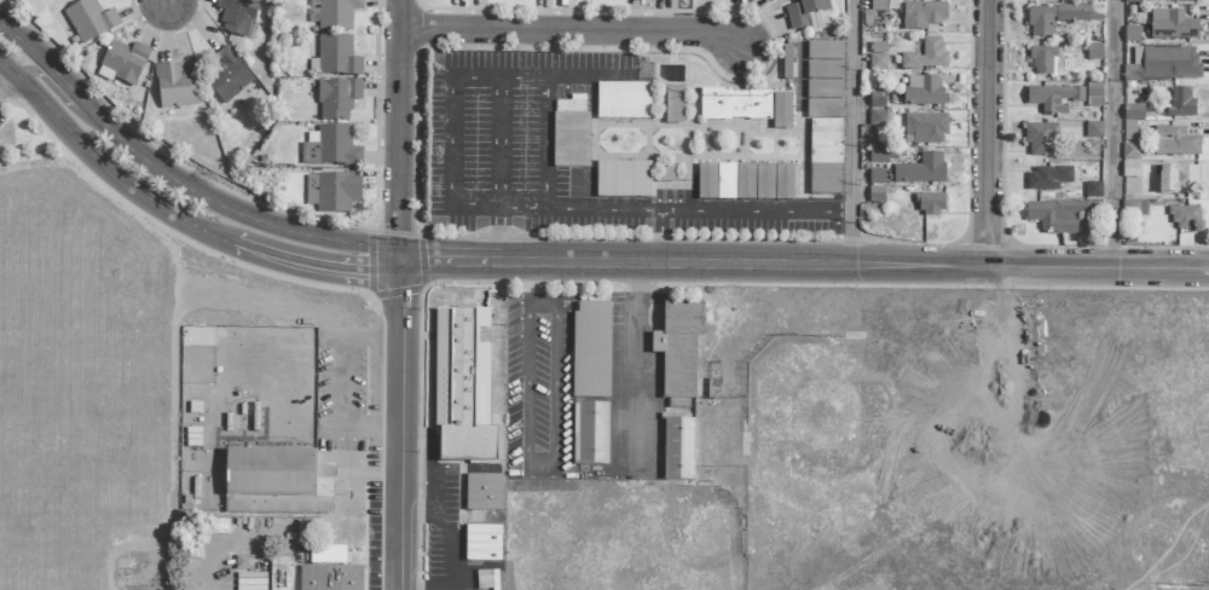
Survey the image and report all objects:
building: (1176, 0)
building: (1132, 1)
road: (166, 2)
building: (877, 5)
building: (235, 15)
building: (336, 15)
building: (805, 15)
building: (921, 16)
building: (1058, 17)
building: (88, 21)
building: (1170, 25)
road: (577, 31)
building: (823, 51)
building: (1093, 52)
building: (877, 56)
building: (926, 56)
building: (336, 57)
road: (40, 58)
building: (1042, 62)
building: (122, 63)
building: (1162, 64)
road: (8, 68)
building: (823, 70)
building: (227, 76)
road: (8, 79)
road: (46, 83)
building: (175, 86)
building: (823, 89)
building: (922, 89)
building: (1093, 96)
building: (1053, 98)
building: (336, 99)
building: (623, 102)
road: (451, 103)
building: (1180, 103)
building: (673, 105)
building: (734, 105)
building: (822, 109)
building: (781, 111)
building: (1133, 112)
building: (877, 117)
building: (924, 128)
building: (1083, 129)
road: (397, 131)
road: (852, 133)
road: (989, 134)
road: (1116, 134)
building: (1040, 139)
building: (569, 140)
road: (498, 141)
road: (548, 143)
building: (1174, 143)
building: (329, 147)
building: (1129, 151)
road: (162, 152)
building: (877, 156)
building: (823, 157)
building: (1130, 168)
building: (921, 170)
building: (665, 173)
building: (1047, 178)
building: (621, 180)
building: (1176, 180)
building: (715, 181)
building: (744, 183)
building: (773, 183)
building: (1093, 190)
building: (336, 192)
building: (931, 204)
road: (221, 206)
building: (1133, 208)
road: (603, 209)
road: (728, 210)
building: (1059, 214)
building: (1182, 216)
road: (183, 221)
road: (497, 236)
road: (802, 266)
road: (539, 285)
building: (658, 343)
building: (590, 351)
building: (679, 352)
road: (631, 366)
crop: (85, 386)
building: (461, 388)
road: (400, 426)
building: (590, 434)
building: (678, 450)
road: (432, 463)
road: (538, 463)
building: (276, 482)
building: (482, 493)
road: (445, 534)
building: (481, 544)
building: (326, 555)
building: (242, 562)
building: (279, 574)
building: (329, 578)
building: (250, 582)
road: (422, 589)

